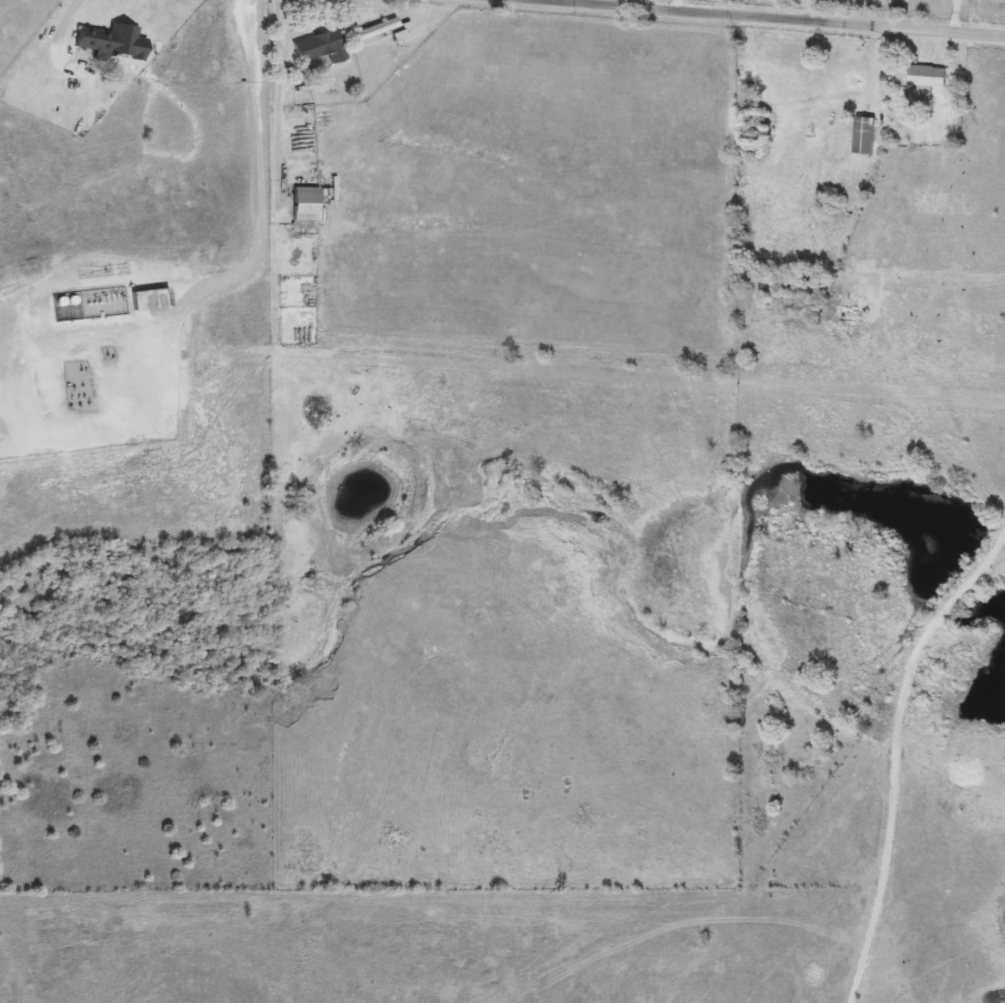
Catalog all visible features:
road: (760, 18)
road: (60, 24)
building: (373, 30)
building: (398, 38)
building: (110, 42)
building: (318, 48)
building: (926, 82)
road: (866, 101)
building: (758, 121)
building: (864, 136)
road: (272, 162)
building: (304, 205)
road: (251, 240)
building: (806, 287)
road: (895, 749)

